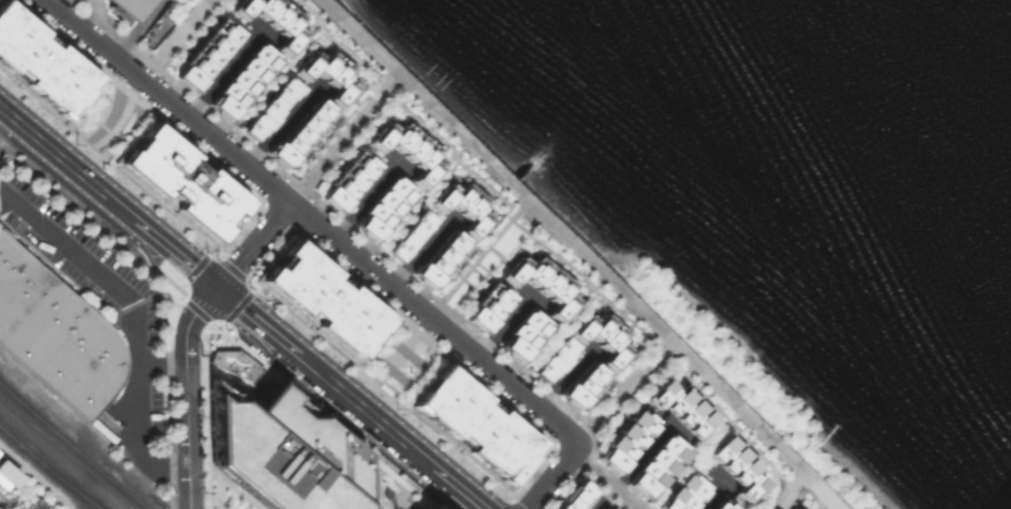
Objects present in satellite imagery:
building: (120, 6)
building: (269, 19)
building: (158, 23)
road: (172, 38)
road: (93, 39)
building: (206, 55)
building: (41, 60)
building: (321, 73)
building: (240, 78)
building: (268, 107)
road: (4, 110)
road: (4, 119)
road: (276, 121)
building: (297, 131)
road: (340, 137)
road: (215, 140)
building: (402, 149)
road: (77, 170)
building: (182, 179)
building: (346, 181)
building: (381, 205)
building: (459, 206)
building: (408, 234)
road: (561, 238)
road: (254, 245)
road: (182, 257)
building: (438, 257)
road: (476, 258)
road: (359, 259)
building: (539, 284)
traffic signals: (219, 288)
building: (327, 297)
building: (488, 307)
road: (134, 319)
road: (264, 325)
building: (523, 332)
building: (56, 333)
building: (610, 343)
building: (236, 361)
road: (504, 378)
road: (560, 379)
building: (583, 384)
road: (621, 390)
road: (187, 393)
building: (676, 405)
road: (379, 421)
building: (475, 421)
railway: (46, 427)
road: (70, 428)
building: (625, 438)
building: (287, 452)
building: (656, 462)
building: (734, 465)
railway: (49, 469)
building: (6, 475)
road: (553, 476)
road: (606, 480)
road: (785, 487)
railway: (121, 488)
building: (683, 492)
road: (468, 494)
building: (575, 495)
building: (38, 505)
building: (719, 505)
building: (433, 508)
building: (800, 508)

